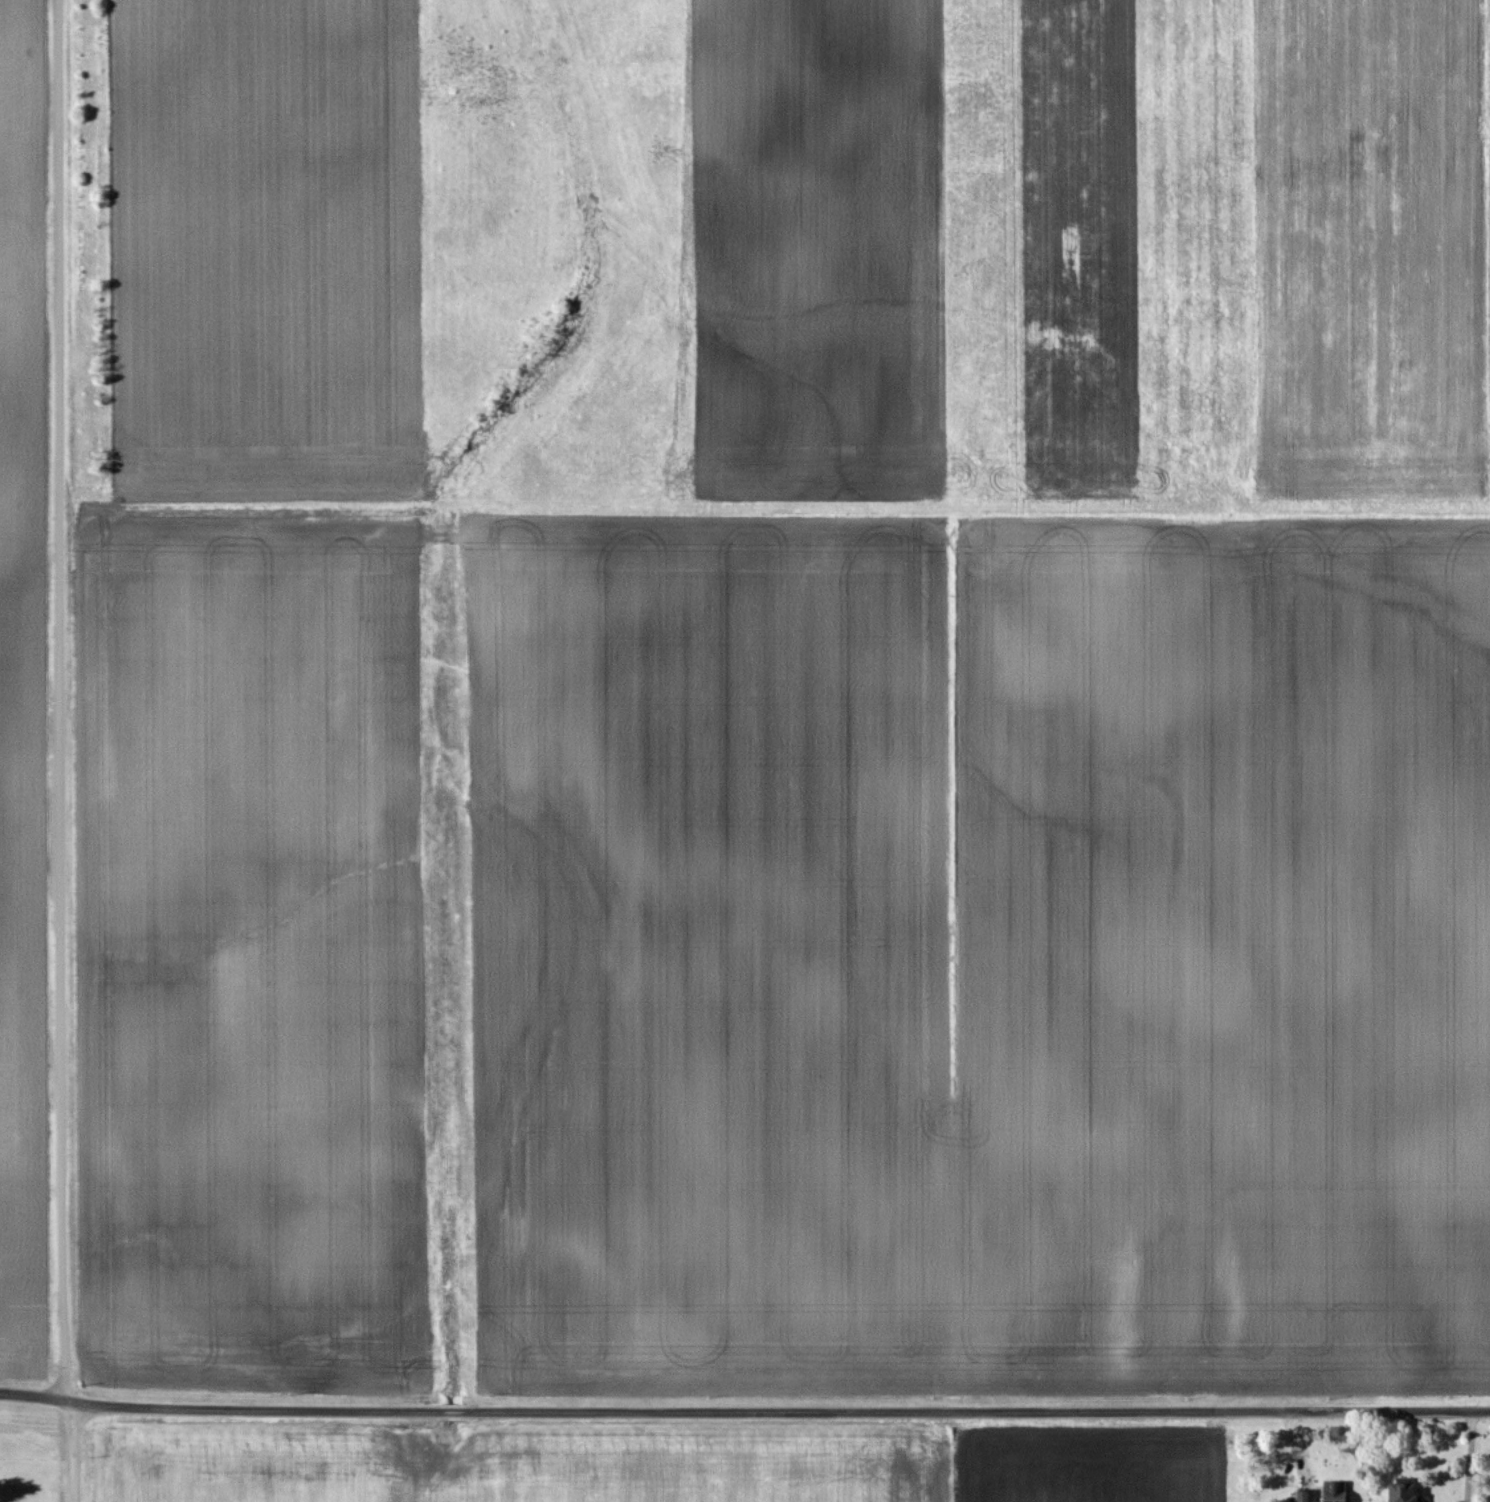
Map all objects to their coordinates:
road: (63, 751)
road: (744, 1412)
road: (1471, 1456)
park: (30, 1496)

